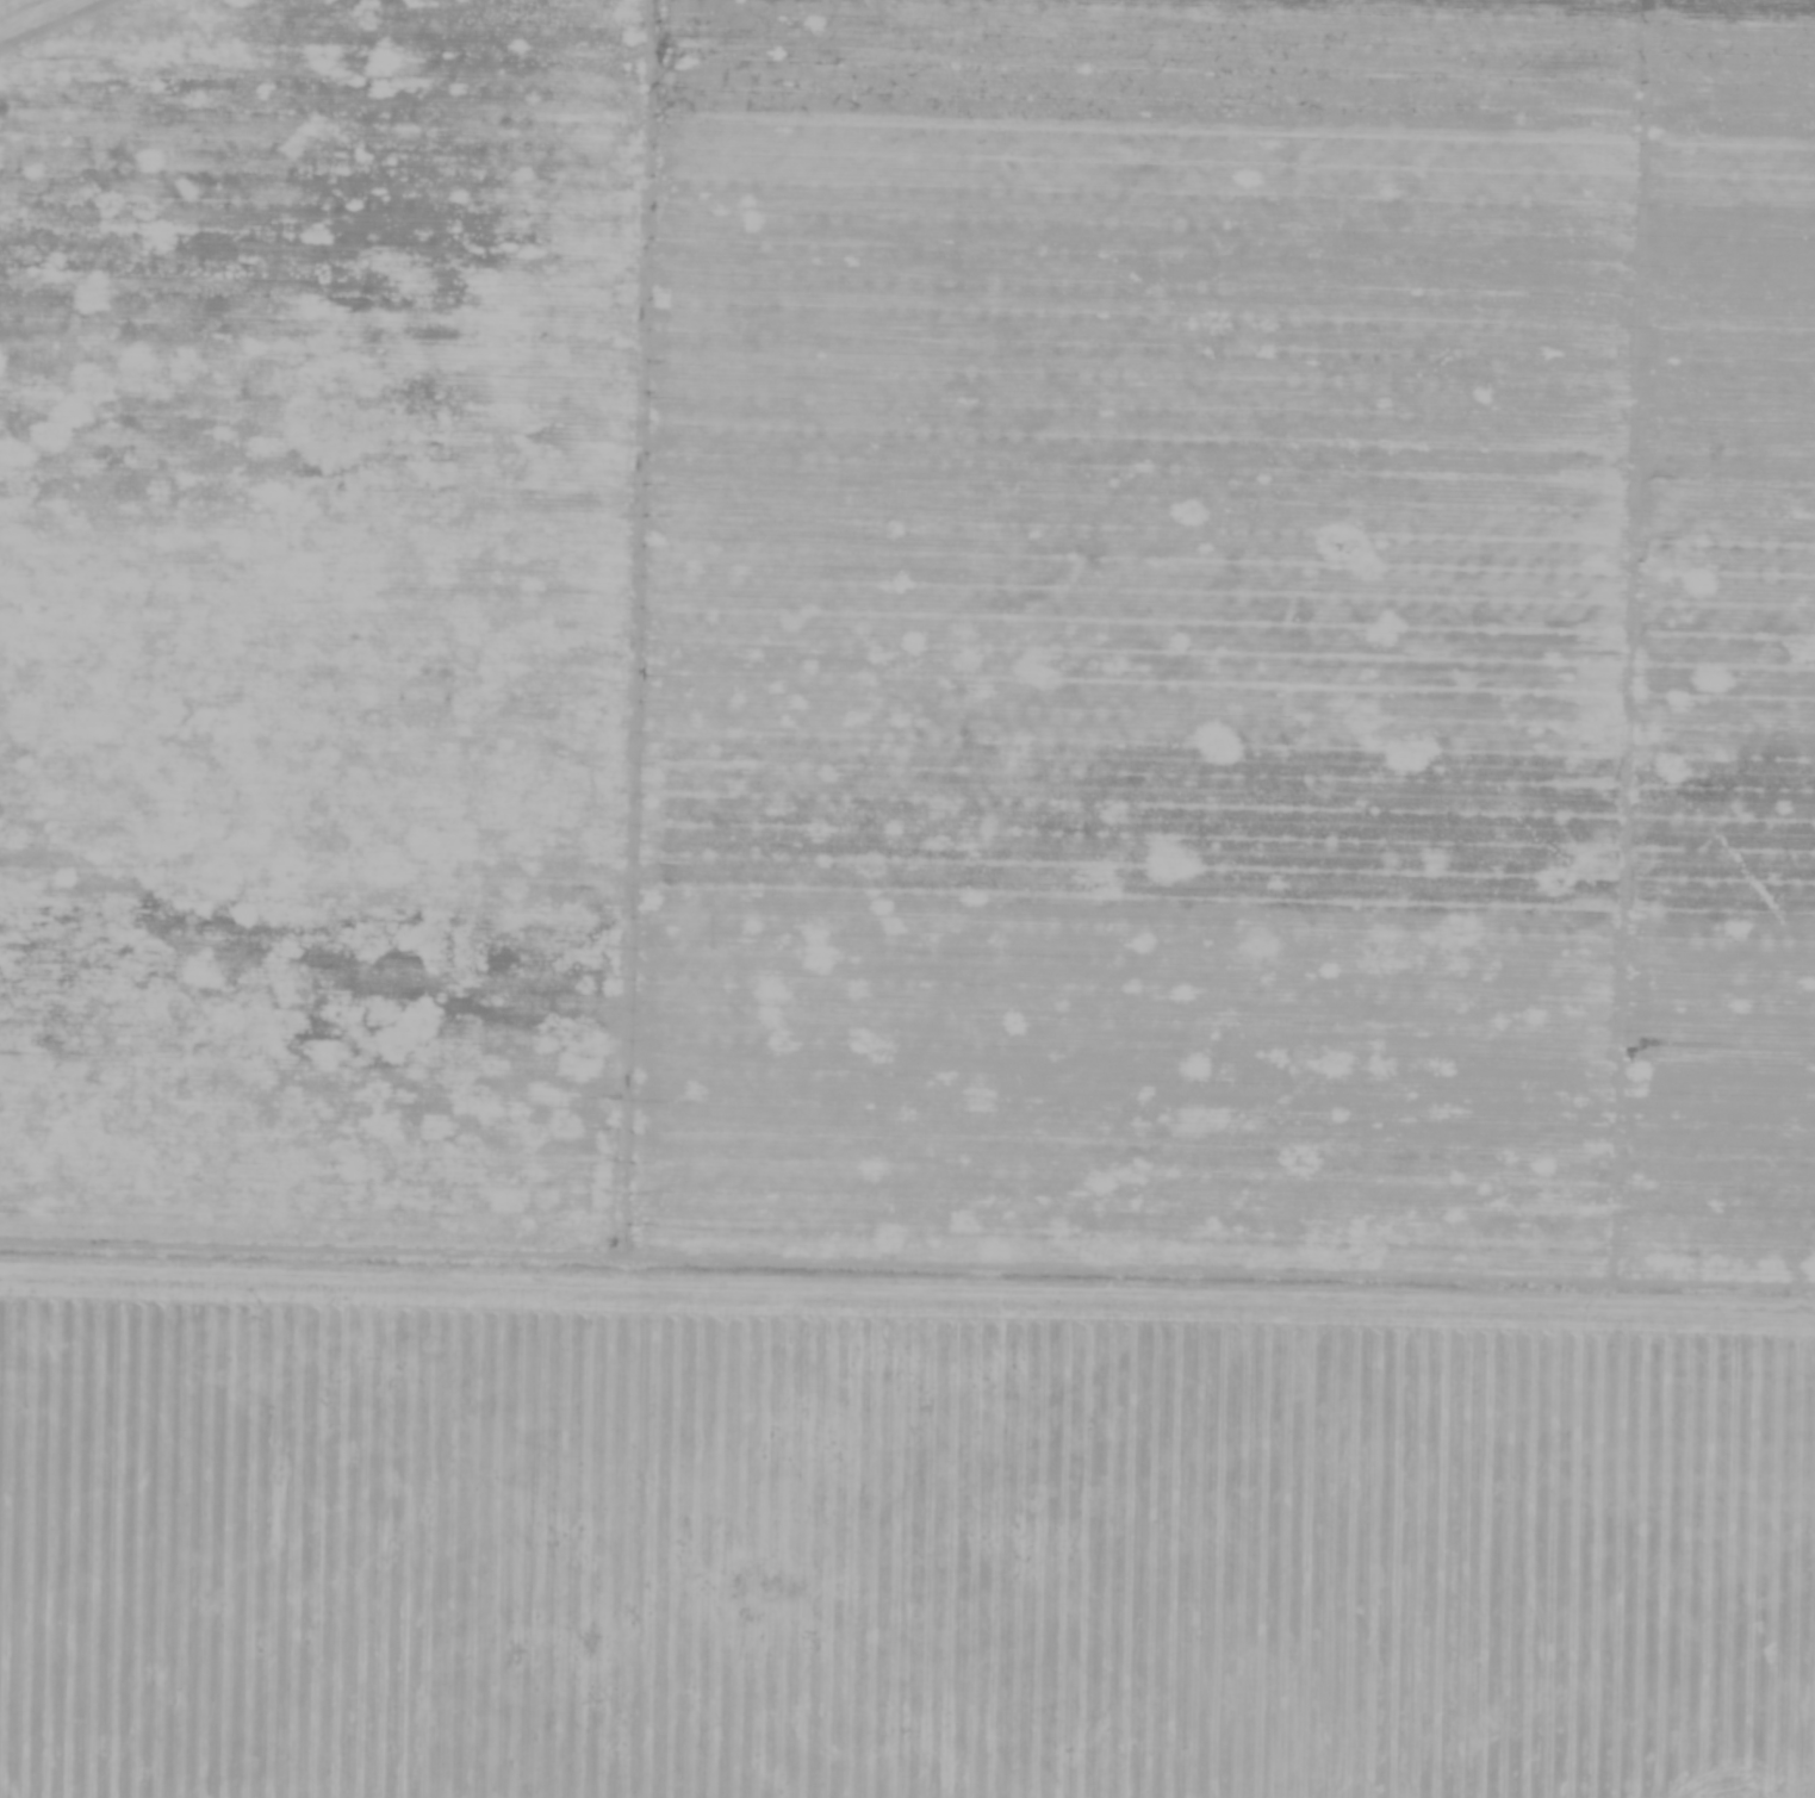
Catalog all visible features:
building: (752, 5)
crop: (916, 826)

